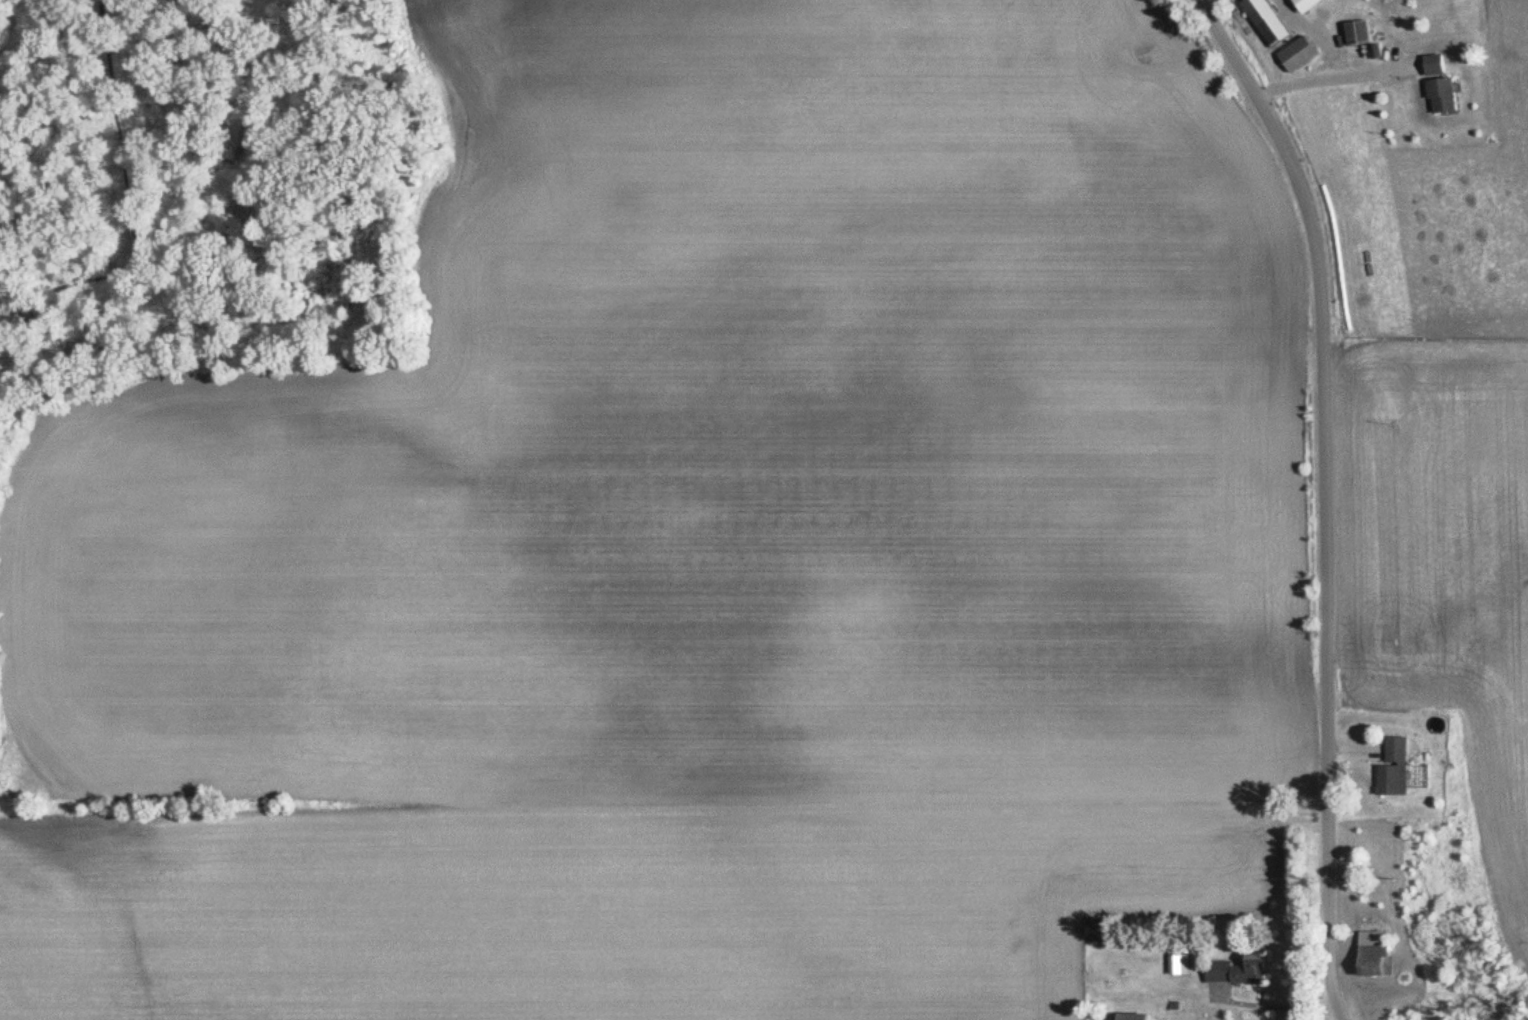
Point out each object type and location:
building: (1267, 22)
building: (1359, 33)
building: (1299, 55)
building: (1438, 65)
road: (1332, 81)
building: (1445, 95)
road: (1322, 496)
building: (1397, 769)
building: (1377, 955)
building: (1241, 972)
road: (1270, 1003)

